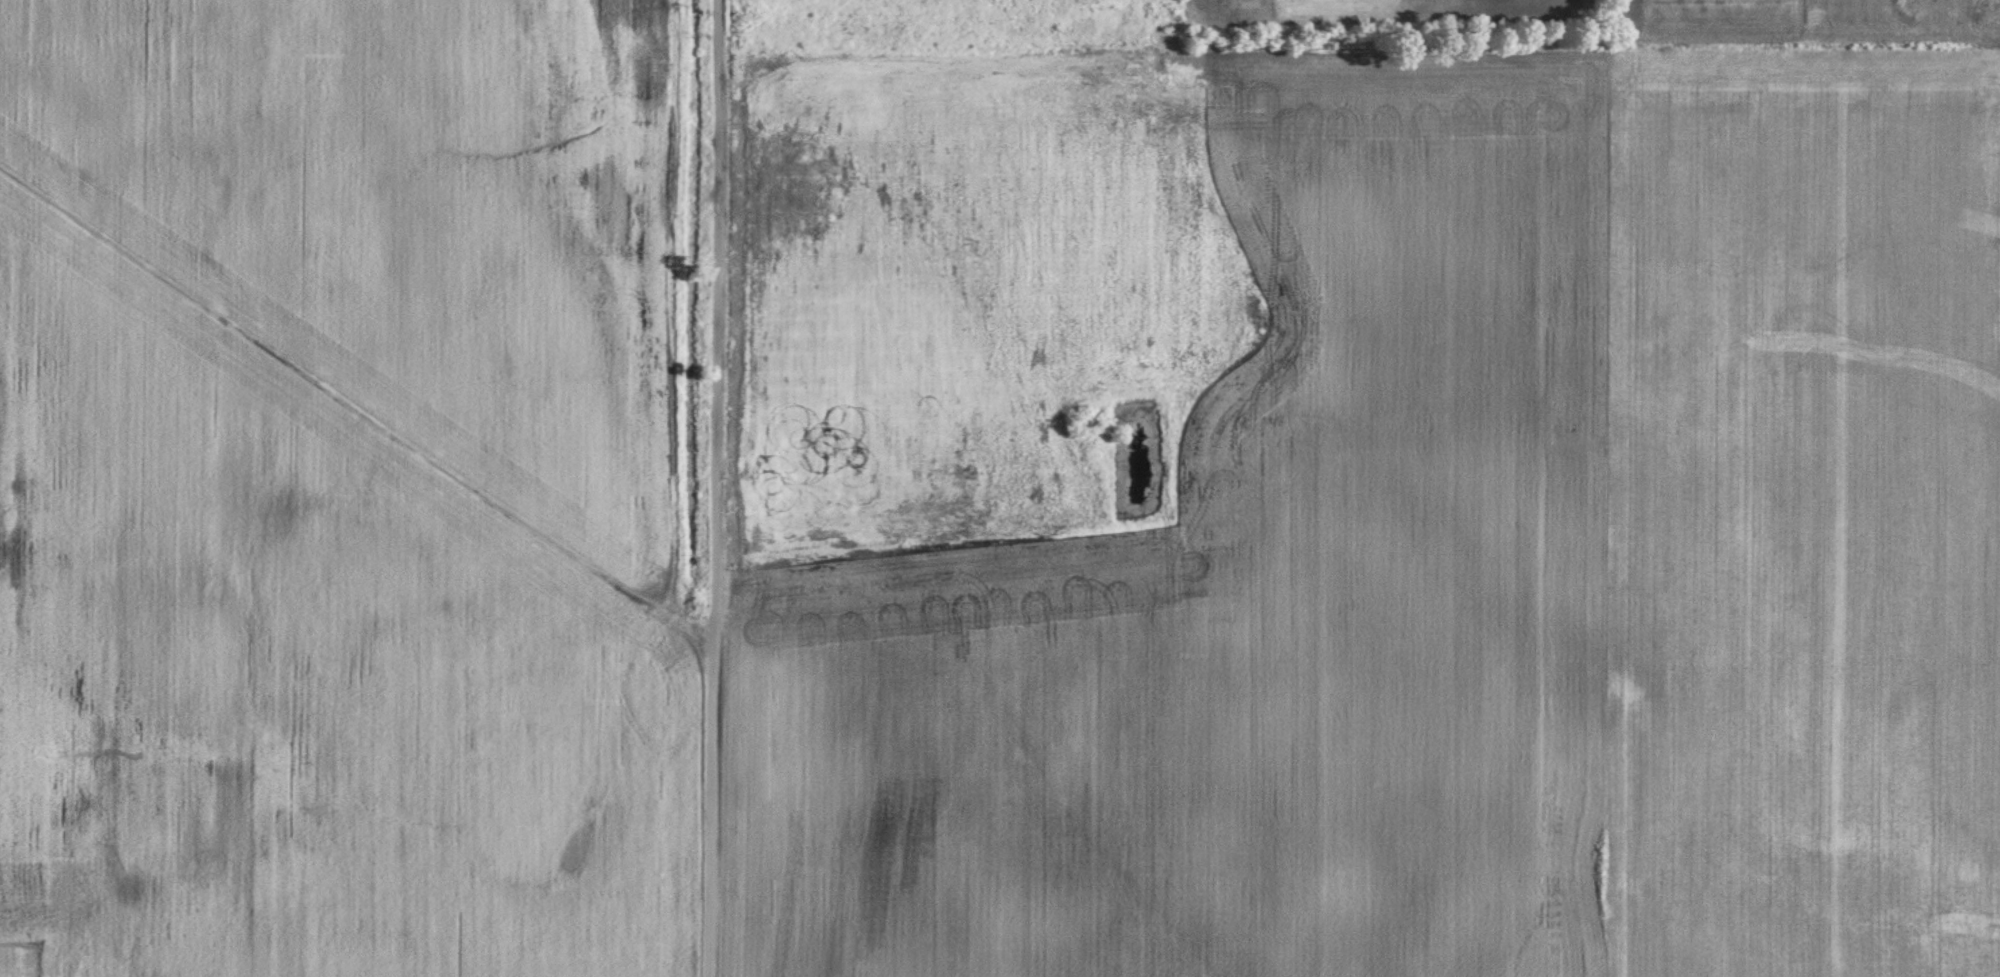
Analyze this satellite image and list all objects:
road: (721, 488)

